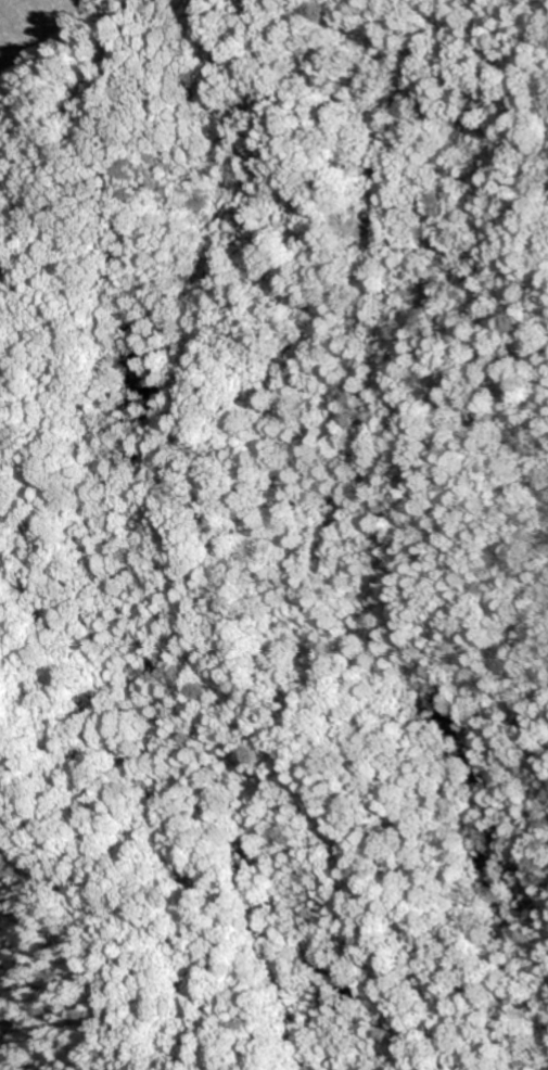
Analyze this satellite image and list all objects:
road: (239, 253)

